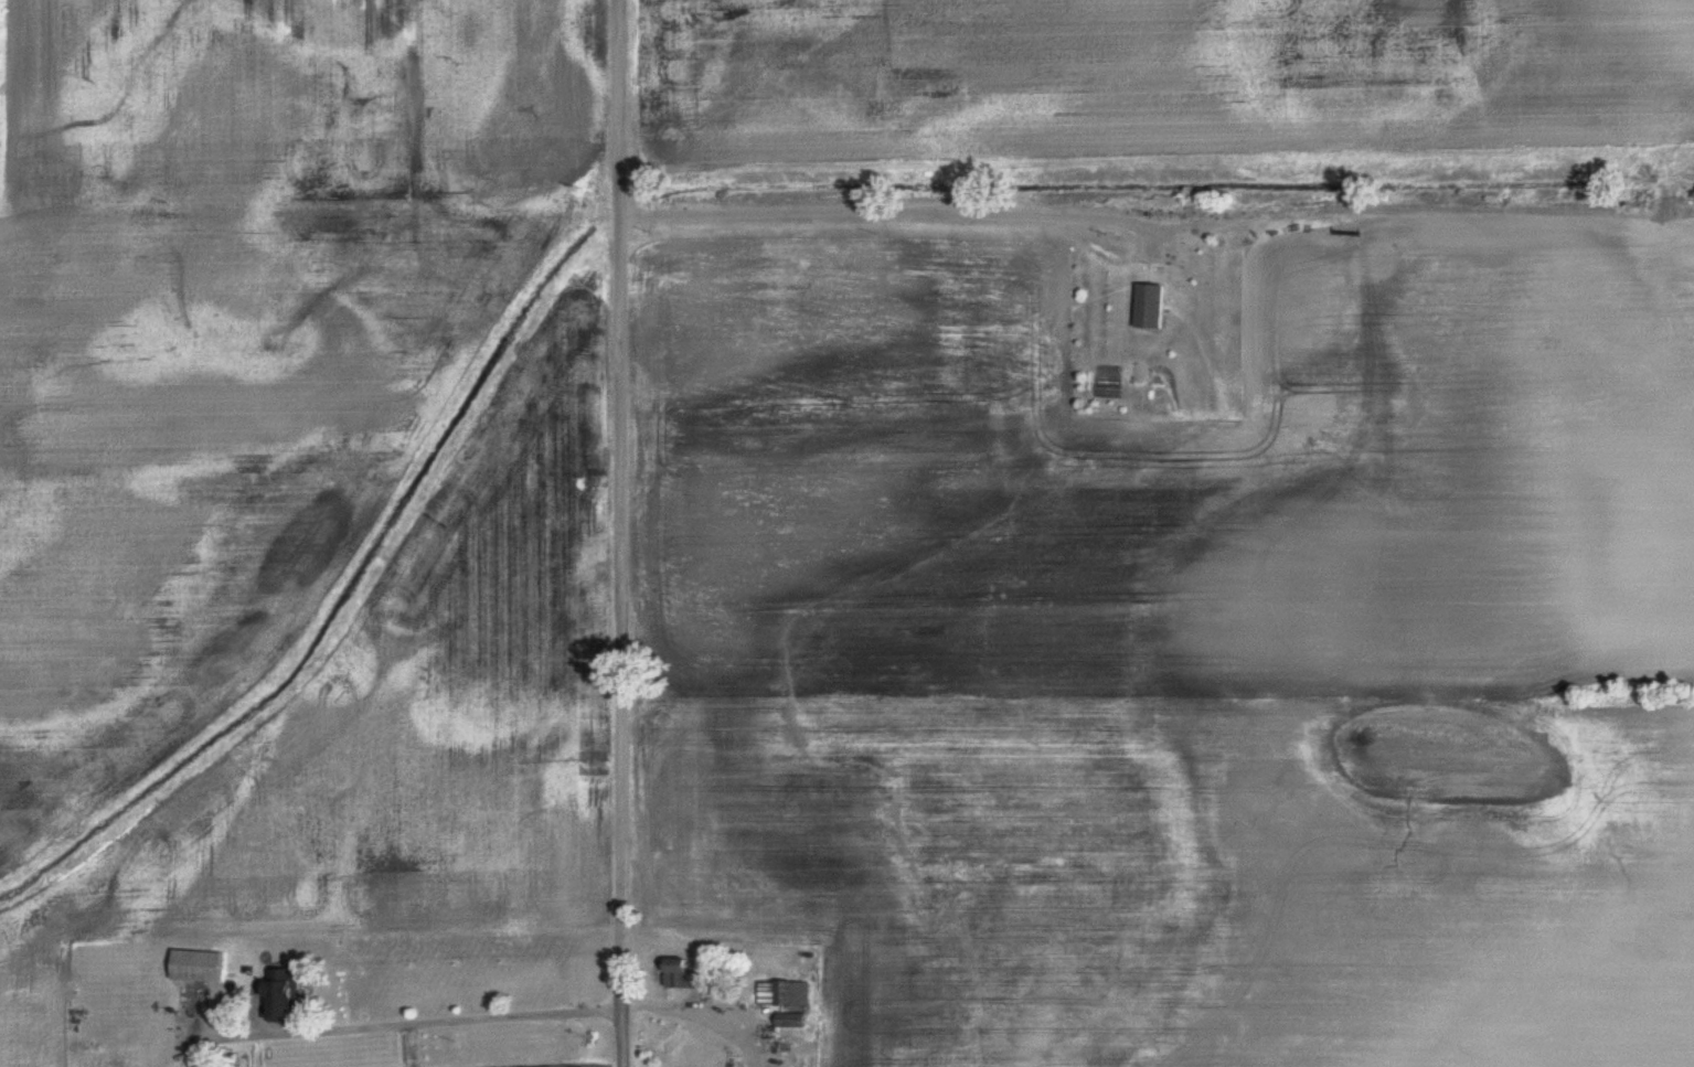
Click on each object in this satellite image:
crop: (1175, 74)
crop: (294, 121)
road: (1152, 181)
building: (1150, 307)
crop: (175, 460)
crop: (1176, 483)
road: (622, 533)
crop: (366, 778)
crop: (1207, 882)
building: (199, 965)
building: (685, 977)
building: (784, 992)
building: (286, 995)
building: (786, 1023)

